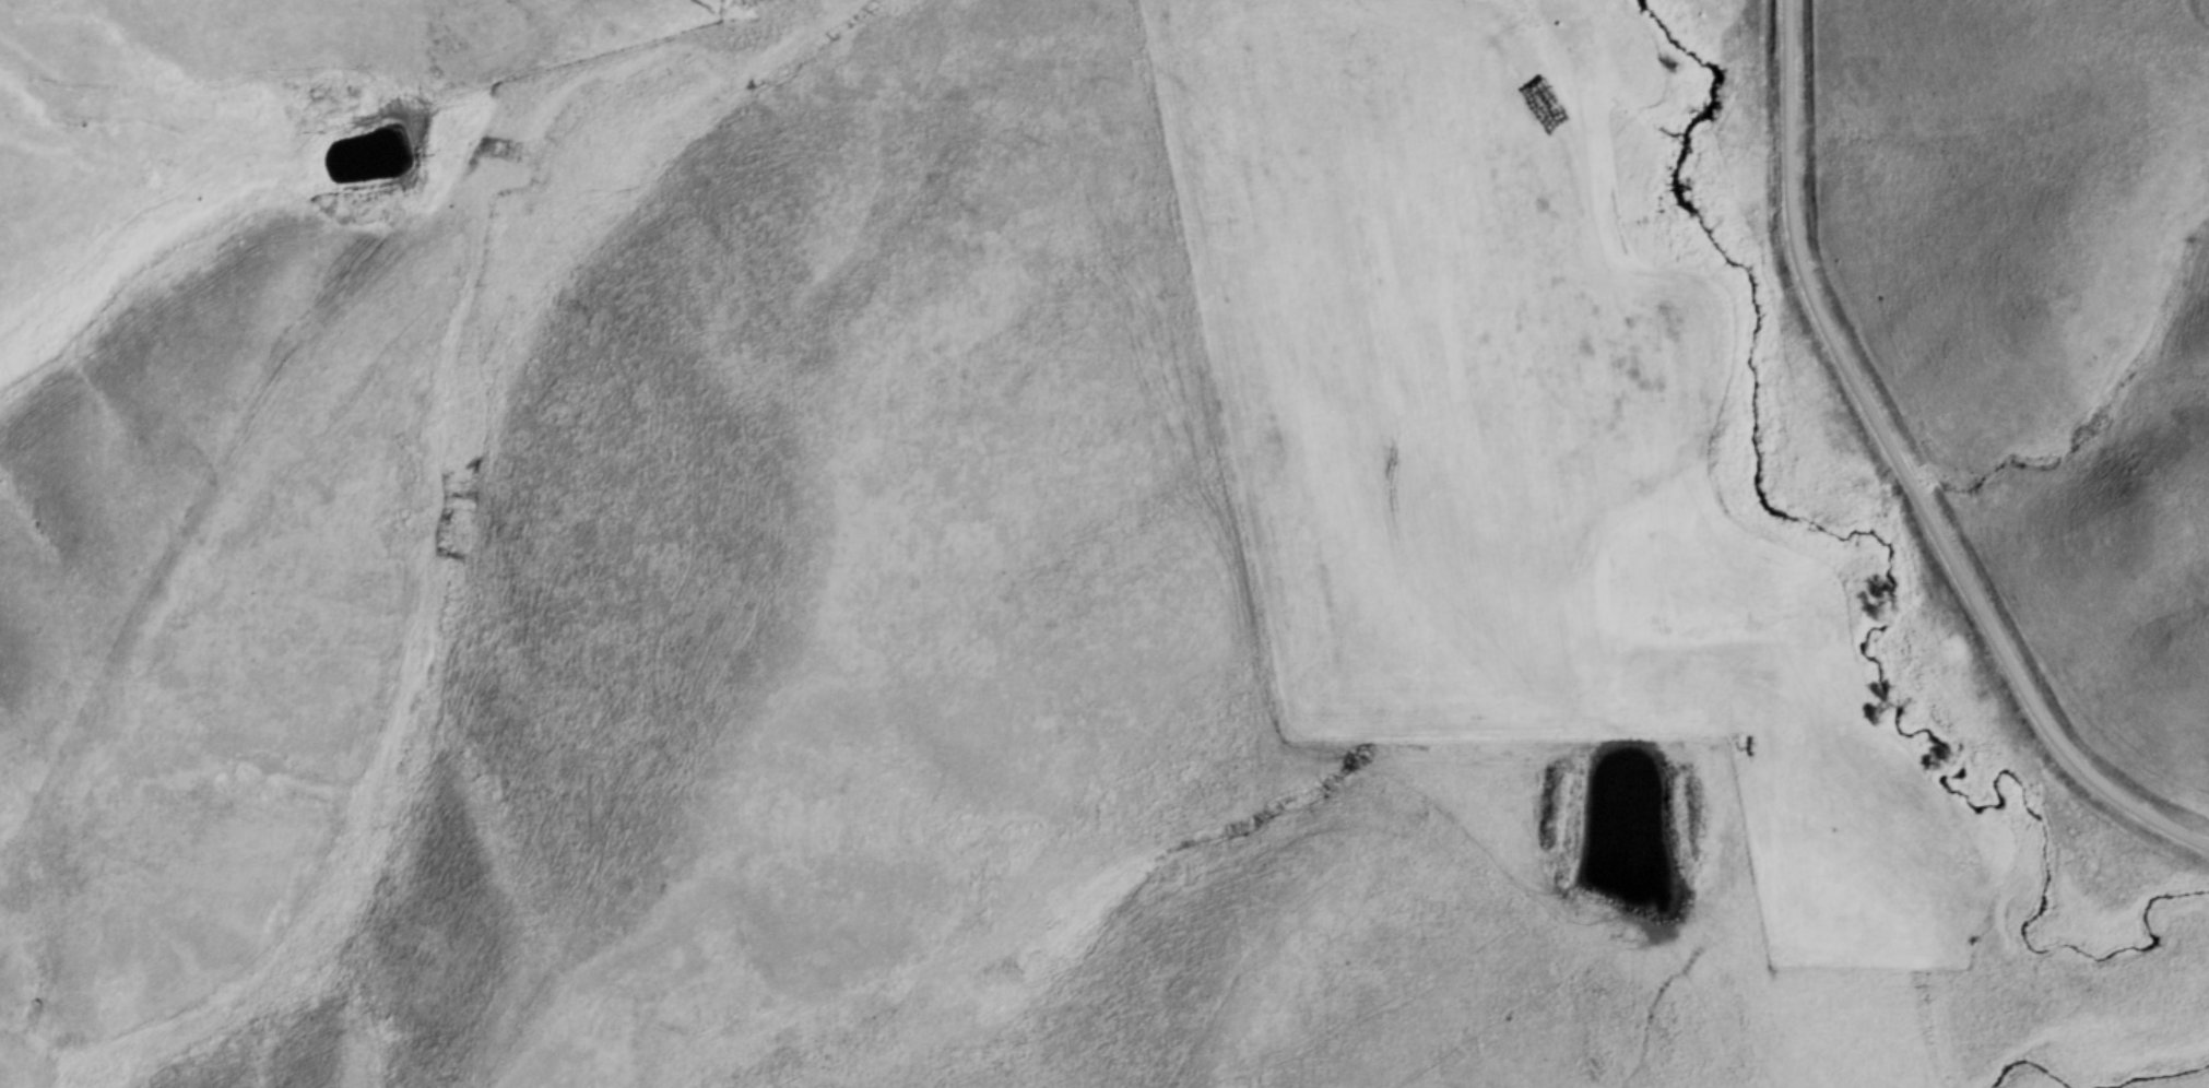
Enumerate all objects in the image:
road: (1906, 472)

